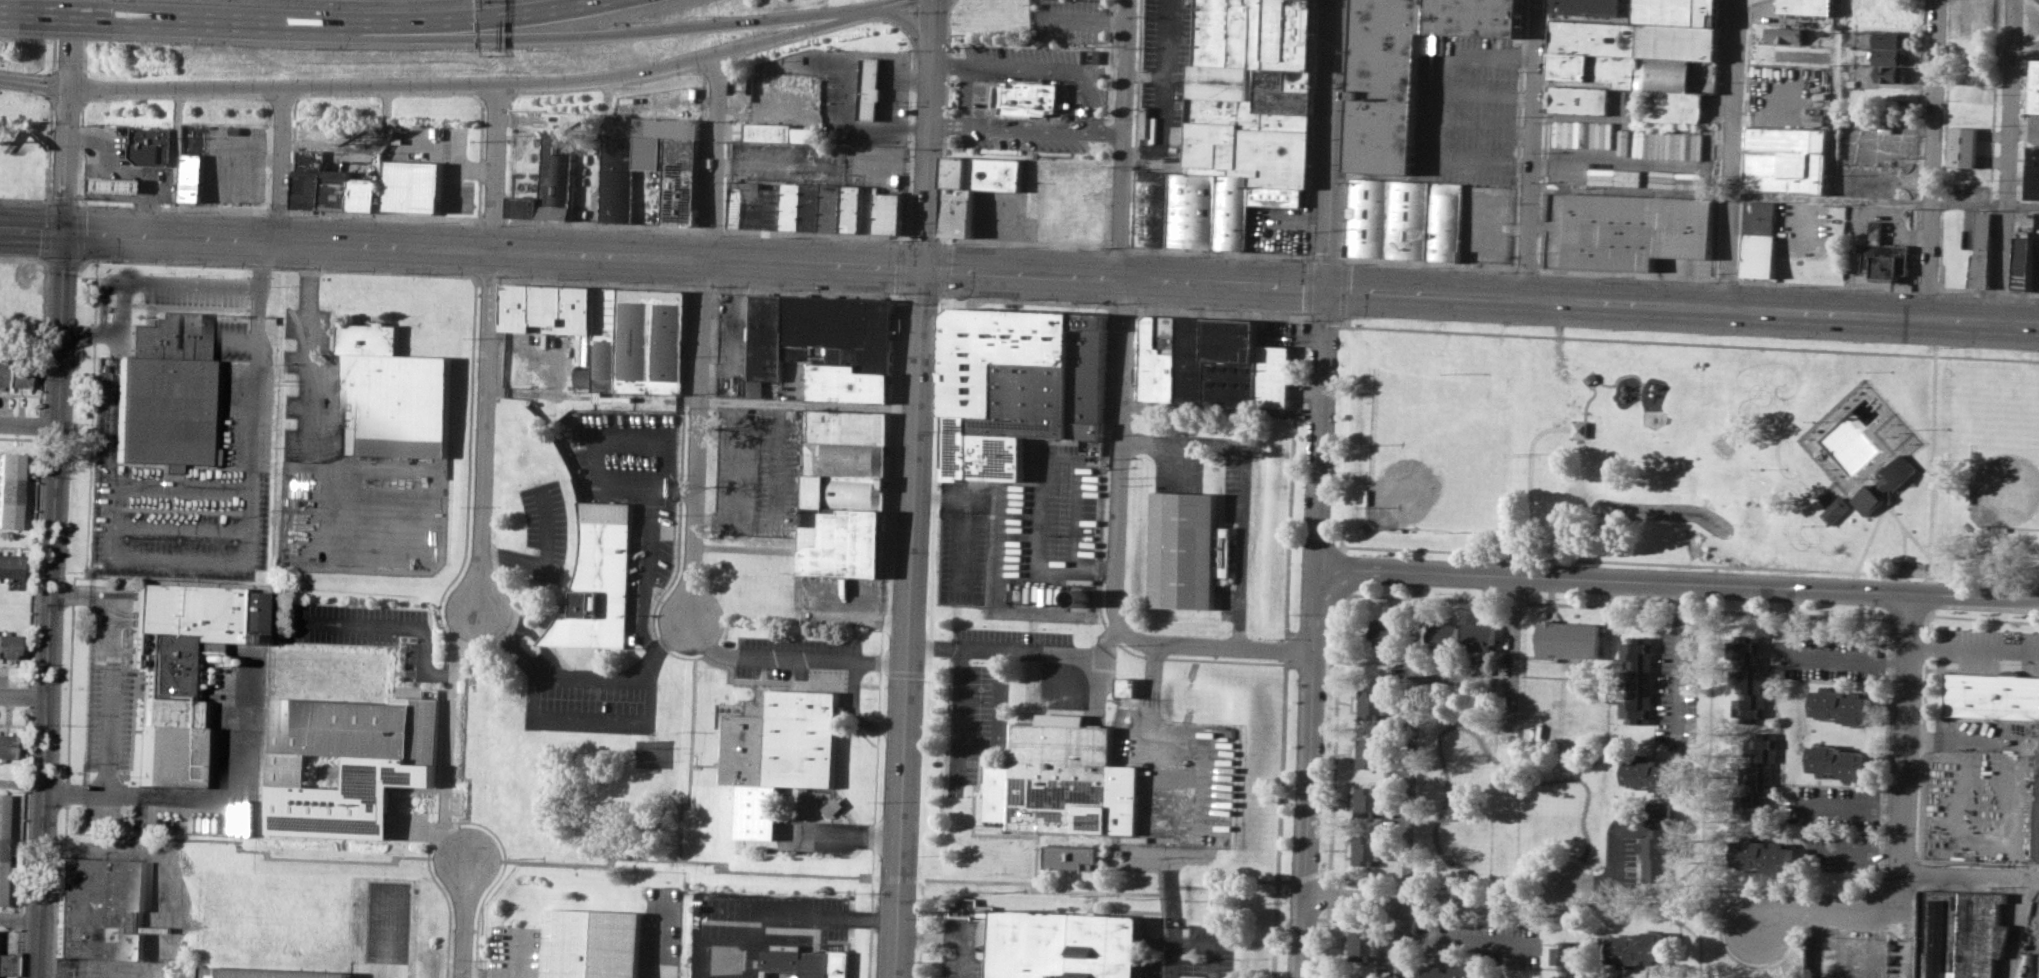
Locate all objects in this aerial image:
road: (954, 1)
building: (1807, 6)
building: (1591, 7)
building: (1680, 11)
road: (11, 12)
road: (521, 12)
road: (73, 15)
road: (1084, 20)
road: (284, 22)
road: (655, 30)
building: (1786, 34)
road: (53, 35)
road: (83, 36)
building: (1593, 37)
building: (1415, 39)
building: (1889, 39)
building: (1679, 41)
building: (1889, 56)
road: (855, 60)
road: (872, 61)
road: (887, 62)
road: (810, 64)
building: (1594, 67)
road: (855, 71)
road: (845, 72)
road: (872, 72)
road: (886, 72)
building: (1666, 73)
building: (1890, 73)
road: (1145, 75)
road: (854, 82)
road: (1163, 82)
road: (871, 83)
road: (886, 83)
road: (35, 84)
building: (1968, 85)
road: (493, 86)
road: (51, 87)
road: (82, 87)
parking lot: (1166, 87)
building: (2034, 87)
building: (871, 88)
road: (965, 93)
road: (1484, 93)
building: (1030, 96)
building: (1579, 98)
road: (853, 102)
road: (871, 103)
road: (891, 103)
road: (885, 104)
parking lot: (1466, 104)
road: (1436, 106)
building: (1687, 106)
road: (1093, 109)
road: (854, 113)
road: (870, 113)
road: (885, 114)
road: (1472, 117)
road: (945, 119)
building: (1236, 126)
building: (670, 127)
building: (778, 132)
road: (1109, 133)
road: (930, 134)
building: (1383, 136)
road: (1124, 138)
road: (1331, 143)
building: (1668, 144)
building: (1965, 145)
road: (364, 147)
building: (146, 148)
road: (1529, 149)
road: (78, 152)
building: (652, 152)
parking lot: (1627, 152)
road: (1733, 154)
road: (720, 155)
road: (1935, 158)
building: (1788, 159)
road: (2009, 159)
road: (177, 162)
road: (284, 163)
road: (781, 165)
building: (984, 172)
building: (2033, 172)
road: (93, 175)
road: (48, 176)
building: (194, 176)
building: (618, 177)
road: (80, 179)
building: (310, 179)
building: (552, 181)
building: (685, 181)
building: (117, 184)
building: (413, 185)
building: (337, 189)
building: (366, 194)
road: (1783, 197)
road: (49, 201)
road: (63, 201)
building: (761, 204)
building: (847, 208)
road: (146, 209)
building: (958, 213)
building: (1406, 218)
parking lot: (1487, 222)
building: (1637, 229)
traffic signals: (66, 232)
building: (1761, 238)
road: (462, 248)
building: (1981, 251)
road: (261, 255)
building: (1882, 255)
building: (2023, 260)
road: (940, 267)
traffic signals: (925, 268)
road: (1125, 277)
road: (165, 283)
traffic signals: (1325, 288)
parking lot: (195, 289)
road: (105, 301)
road: (1123, 306)
road: (1681, 307)
building: (554, 310)
road: (1221, 311)
road: (43, 316)
road: (1342, 316)
building: (817, 327)
road: (82, 331)
building: (644, 342)
road: (1688, 342)
road: (489, 343)
parking lot: (735, 344)
road: (308, 347)
road: (1134, 356)
building: (1211, 361)
building: (12, 373)
building: (854, 374)
road: (1612, 383)
building: (1018, 384)
building: (165, 391)
building: (395, 393)
road: (809, 405)
road: (1137, 405)
road: (1586, 409)
road: (38, 425)
road: (1320, 427)
road: (28, 428)
building: (1580, 428)
road: (697, 436)
road: (1895, 443)
park: (1723, 444)
park: (1684, 450)
road: (1119, 452)
park: (1441, 454)
park: (2004, 464)
parking lot: (757, 471)
parking lot: (191, 473)
road: (1103, 474)
parking lot: (349, 476)
road: (1291, 476)
road: (1911, 481)
road: (178, 485)
road: (662, 486)
building: (1875, 486)
road: (1241, 488)
building: (10, 489)
road: (54, 489)
building: (852, 493)
road: (803, 506)
parking lot: (1051, 522)
road: (176, 526)
road: (747, 547)
road: (1437, 549)
road: (1930, 549)
building: (1187, 551)
parking lot: (963, 556)
road: (648, 558)
road: (32, 560)
road: (214, 562)
road: (1680, 563)
building: (9, 566)
road: (1342, 573)
road: (1947, 575)
building: (600, 581)
road: (1613, 581)
road: (1905, 582)
road: (1924, 583)
road: (1972, 597)
road: (2035, 597)
road: (2035, 599)
road: (1613, 605)
road: (1313, 608)
road: (1908, 616)
parking lot: (689, 618)
road: (1985, 618)
road: (909, 622)
parking lot: (363, 629)
road: (642, 631)
building: (1387, 631)
building: (1443, 633)
building: (1480, 635)
road: (422, 636)
road: (932, 637)
building: (1570, 639)
road: (1214, 644)
building: (8, 645)
road: (1974, 646)
road: (976, 647)
parking lot: (1985, 648)
road: (1284, 649)
parking lot: (788, 653)
road: (1088, 653)
road: (1818, 656)
road: (1512, 657)
road: (764, 658)
parking lot: (1828, 658)
road: (1680, 661)
road: (883, 663)
road: (107, 664)
building: (175, 667)
road: (1310, 668)
road: (596, 675)
parking lot: (108, 678)
building: (1641, 680)
building: (1750, 681)
road: (1095, 685)
parking lot: (1679, 685)
building: (1128, 686)
road: (28, 695)
building: (1991, 695)
road: (22, 696)
parking lot: (591, 700)
building: (1370, 703)
building: (1841, 705)
road: (859, 712)
road: (998, 717)
road: (957, 720)
road: (581, 723)
road: (1905, 732)
road: (1175, 734)
road: (1333, 743)
building: (6, 745)
road: (1408, 749)
building: (782, 752)
building: (1368, 752)
parking lot: (1401, 759)
building: (351, 762)
building: (1841, 763)
road: (447, 769)
building: (1759, 771)
building: (1657, 774)
road: (20, 779)
building: (1054, 779)
road: (66, 787)
parking lot: (1170, 789)
road: (213, 795)
building: (1366, 800)
building: (2036, 804)
building: (834, 806)
road: (1306, 813)
road: (1277, 820)
road: (1806, 823)
parking lot: (1837, 826)
road: (846, 833)
road: (1008, 834)
building: (1655, 837)
road: (22, 841)
building: (2, 844)
building: (1364, 849)
road: (1180, 854)
building: (1071, 856)
building: (1765, 856)
road: (1969, 871)
road: (1301, 875)
road: (1592, 876)
road: (1097, 878)
road: (1227, 885)
road: (1050, 890)
road: (1327, 897)
road: (1437, 899)
building: (101, 908)
road: (1837, 912)
road: (1171, 915)
road: (18, 916)
road: (828, 916)
road: (1314, 917)
road: (464, 920)
parking lot: (386, 930)
road: (388, 934)
building: (1960, 934)
road: (940, 935)
road: (1398, 937)
road: (668, 940)
road: (1464, 940)
parking lot: (1477, 942)
road: (1325, 943)
building: (1361, 943)
building: (596, 944)
road: (1206, 944)
building: (1063, 945)
building: (1641, 948)
parking lot: (1198, 953)
road: (962, 957)
building: (1572, 960)
building: (809, 962)
building: (7, 965)
parking lot: (961, 966)
building: (2028, 966)
building: (1456, 972)
building: (269, 974)
building: (1663, 976)

